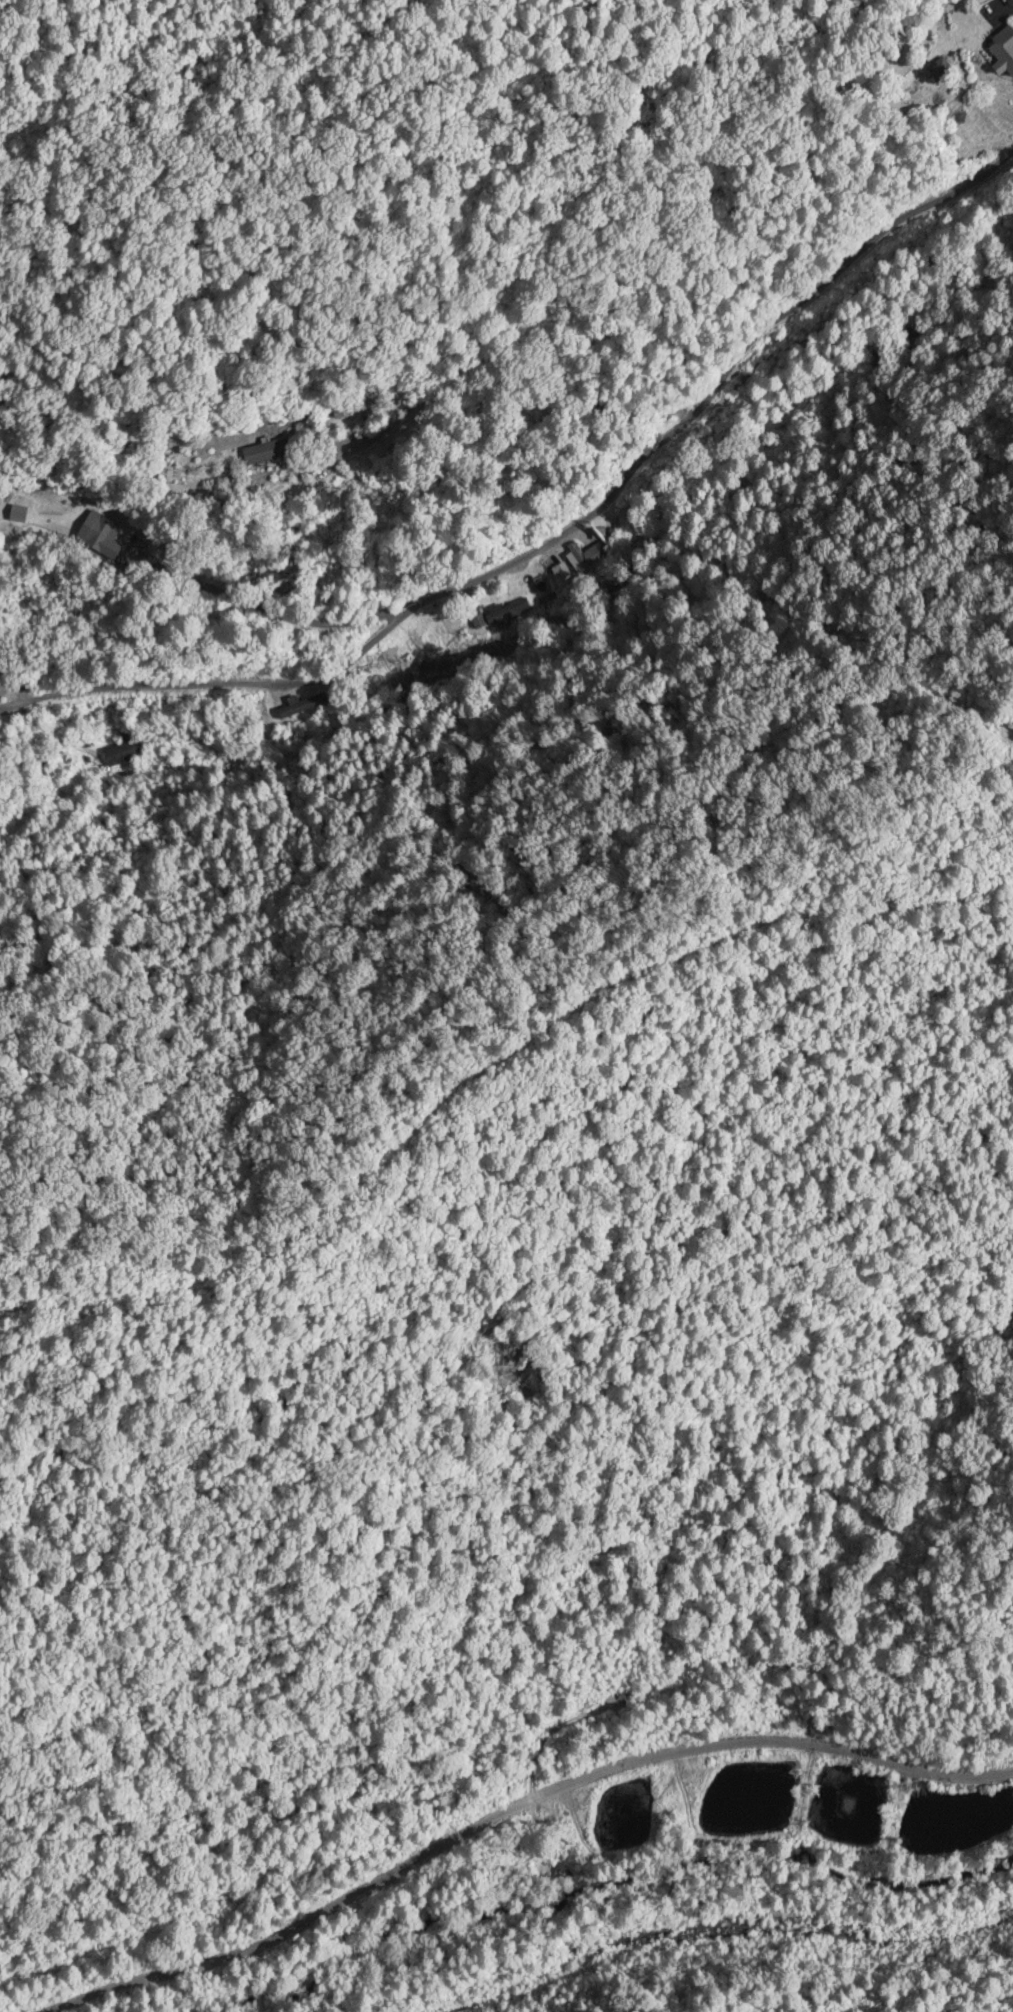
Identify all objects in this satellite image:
road: (684, 179)
road: (532, 359)
road: (561, 502)
road: (43, 510)
road: (494, 1782)

